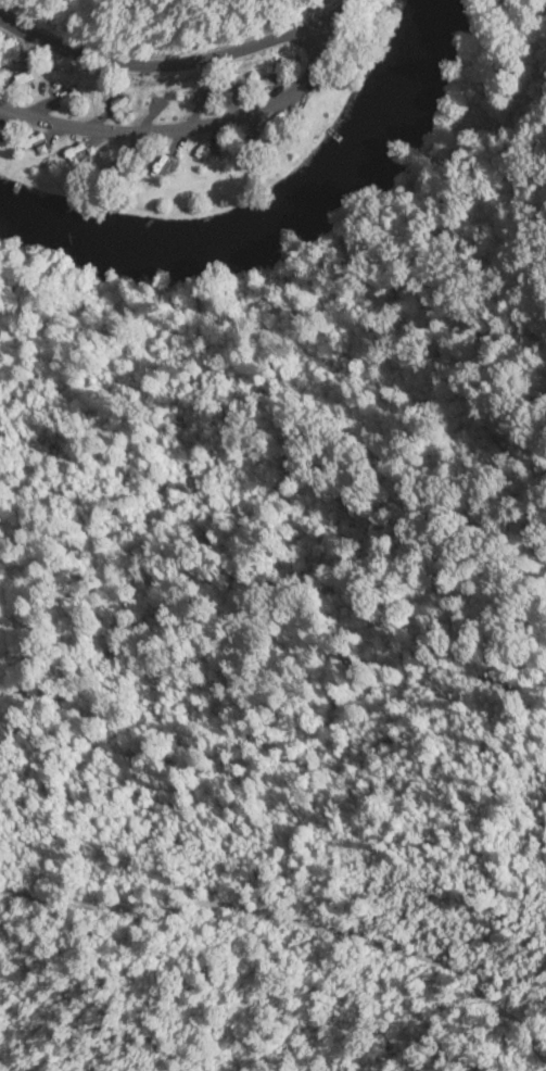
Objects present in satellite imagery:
road: (176, 51)
road: (183, 128)
river: (275, 219)

